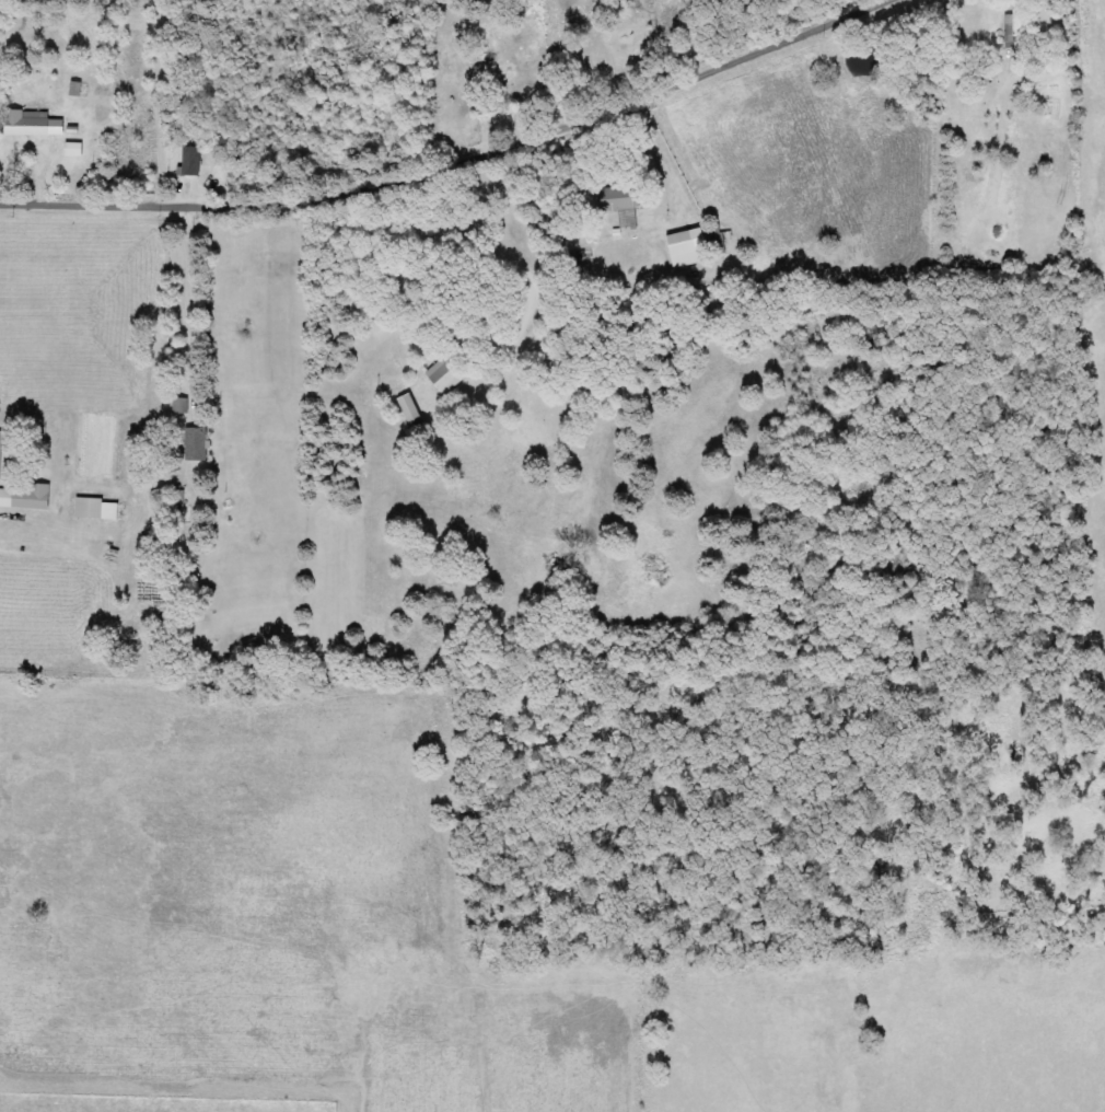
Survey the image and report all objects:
road: (458, 81)
building: (78, 89)
building: (34, 124)
building: (75, 149)
building: (193, 160)
road: (463, 167)
building: (623, 204)
building: (684, 248)
building: (446, 377)
building: (183, 405)
building: (410, 409)
building: (198, 443)
building: (1, 454)
building: (27, 497)
building: (97, 509)
road: (159, 810)

